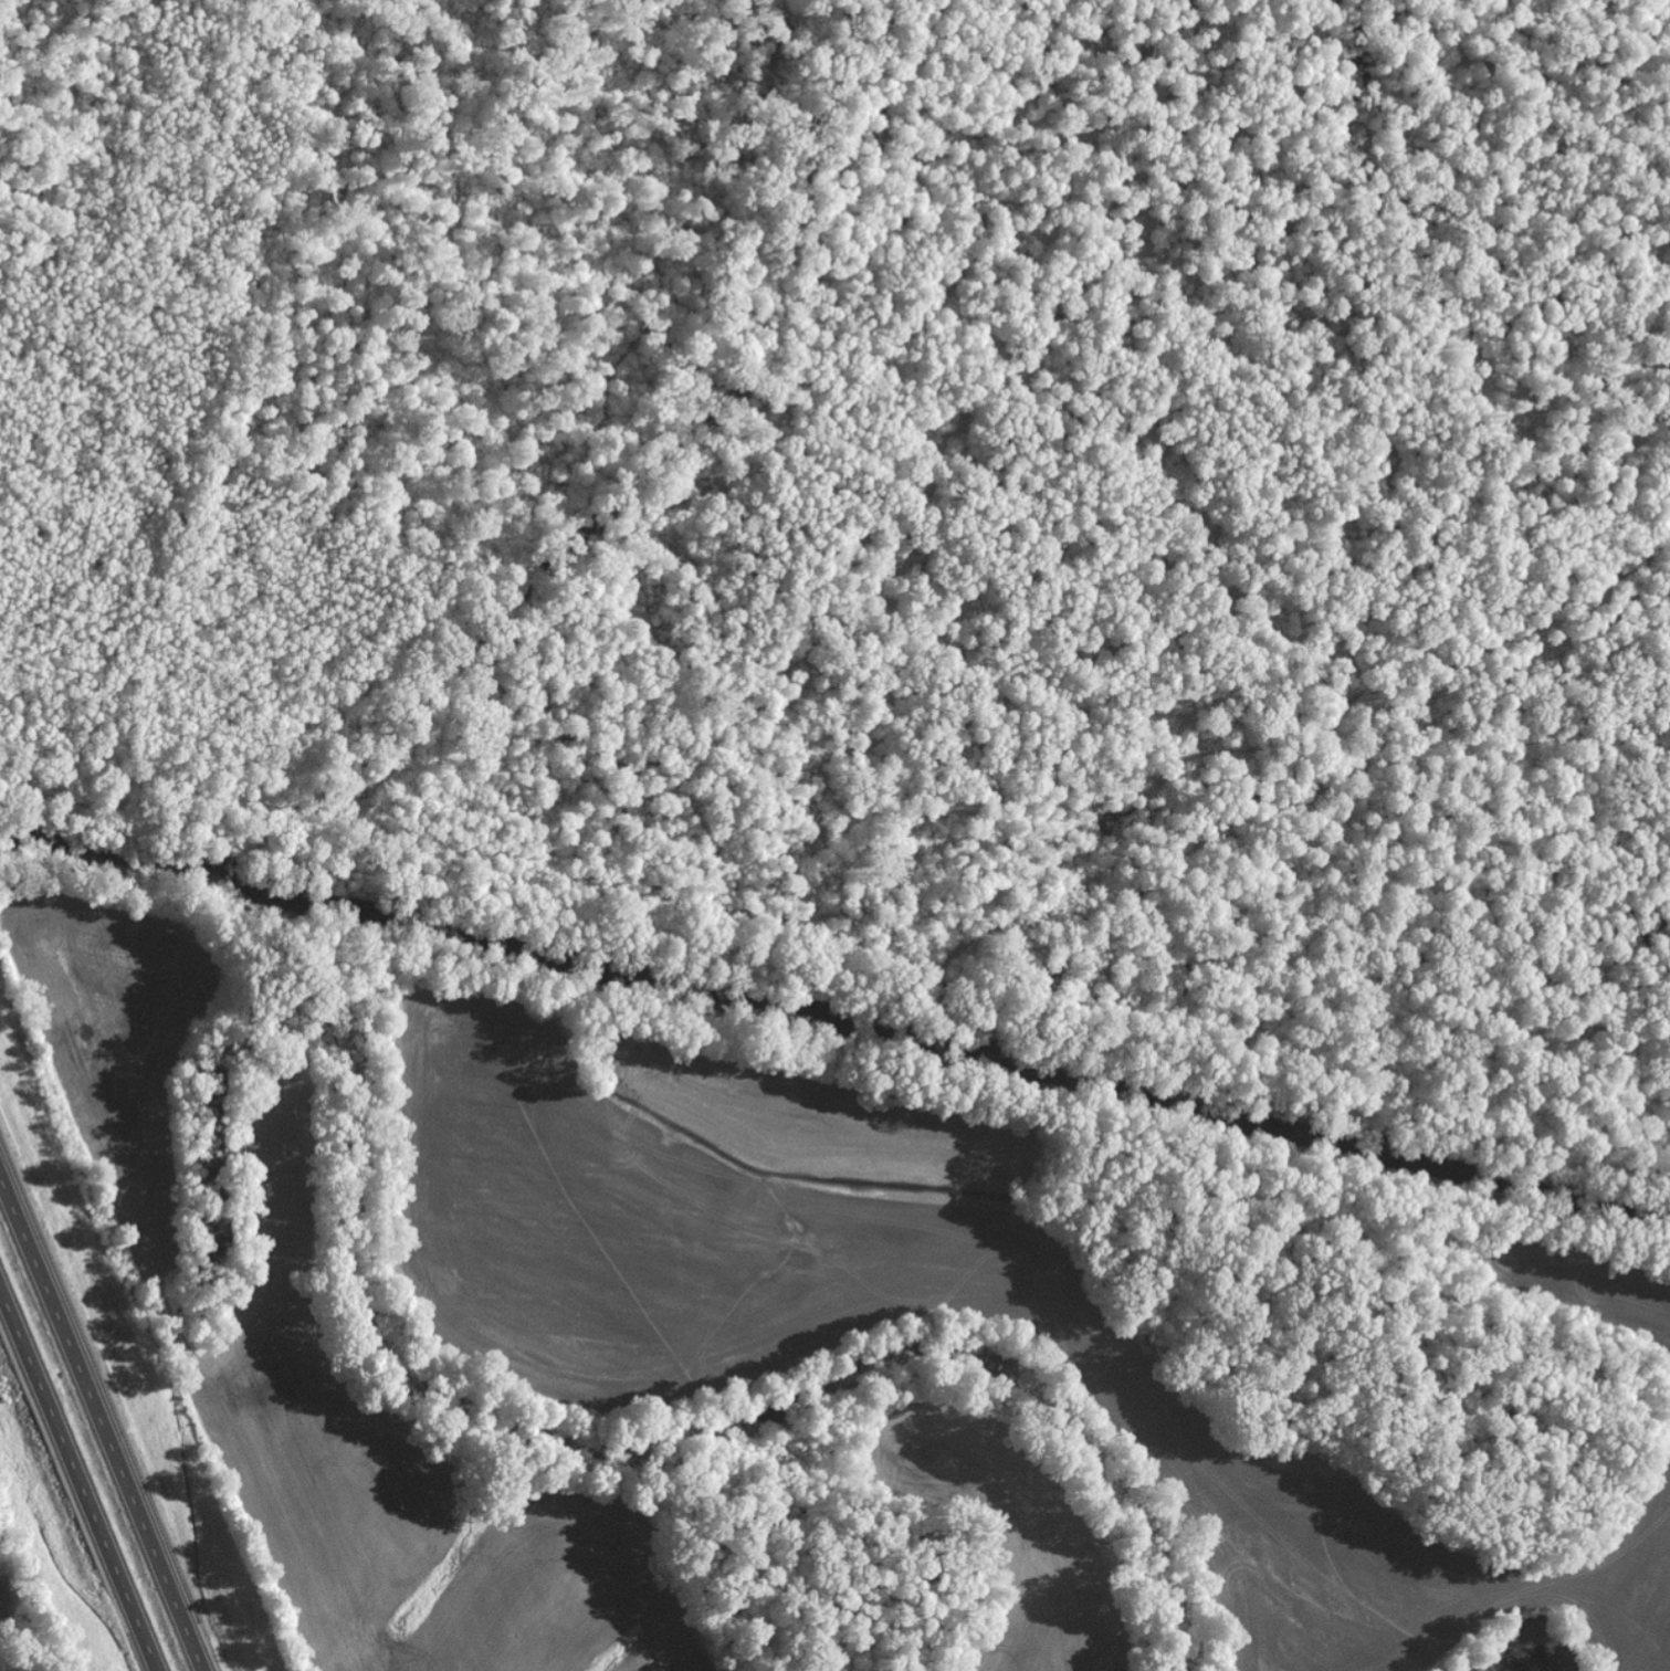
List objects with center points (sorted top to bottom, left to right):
road: (869, 928)
road: (102, 1426)
road: (77, 1481)

